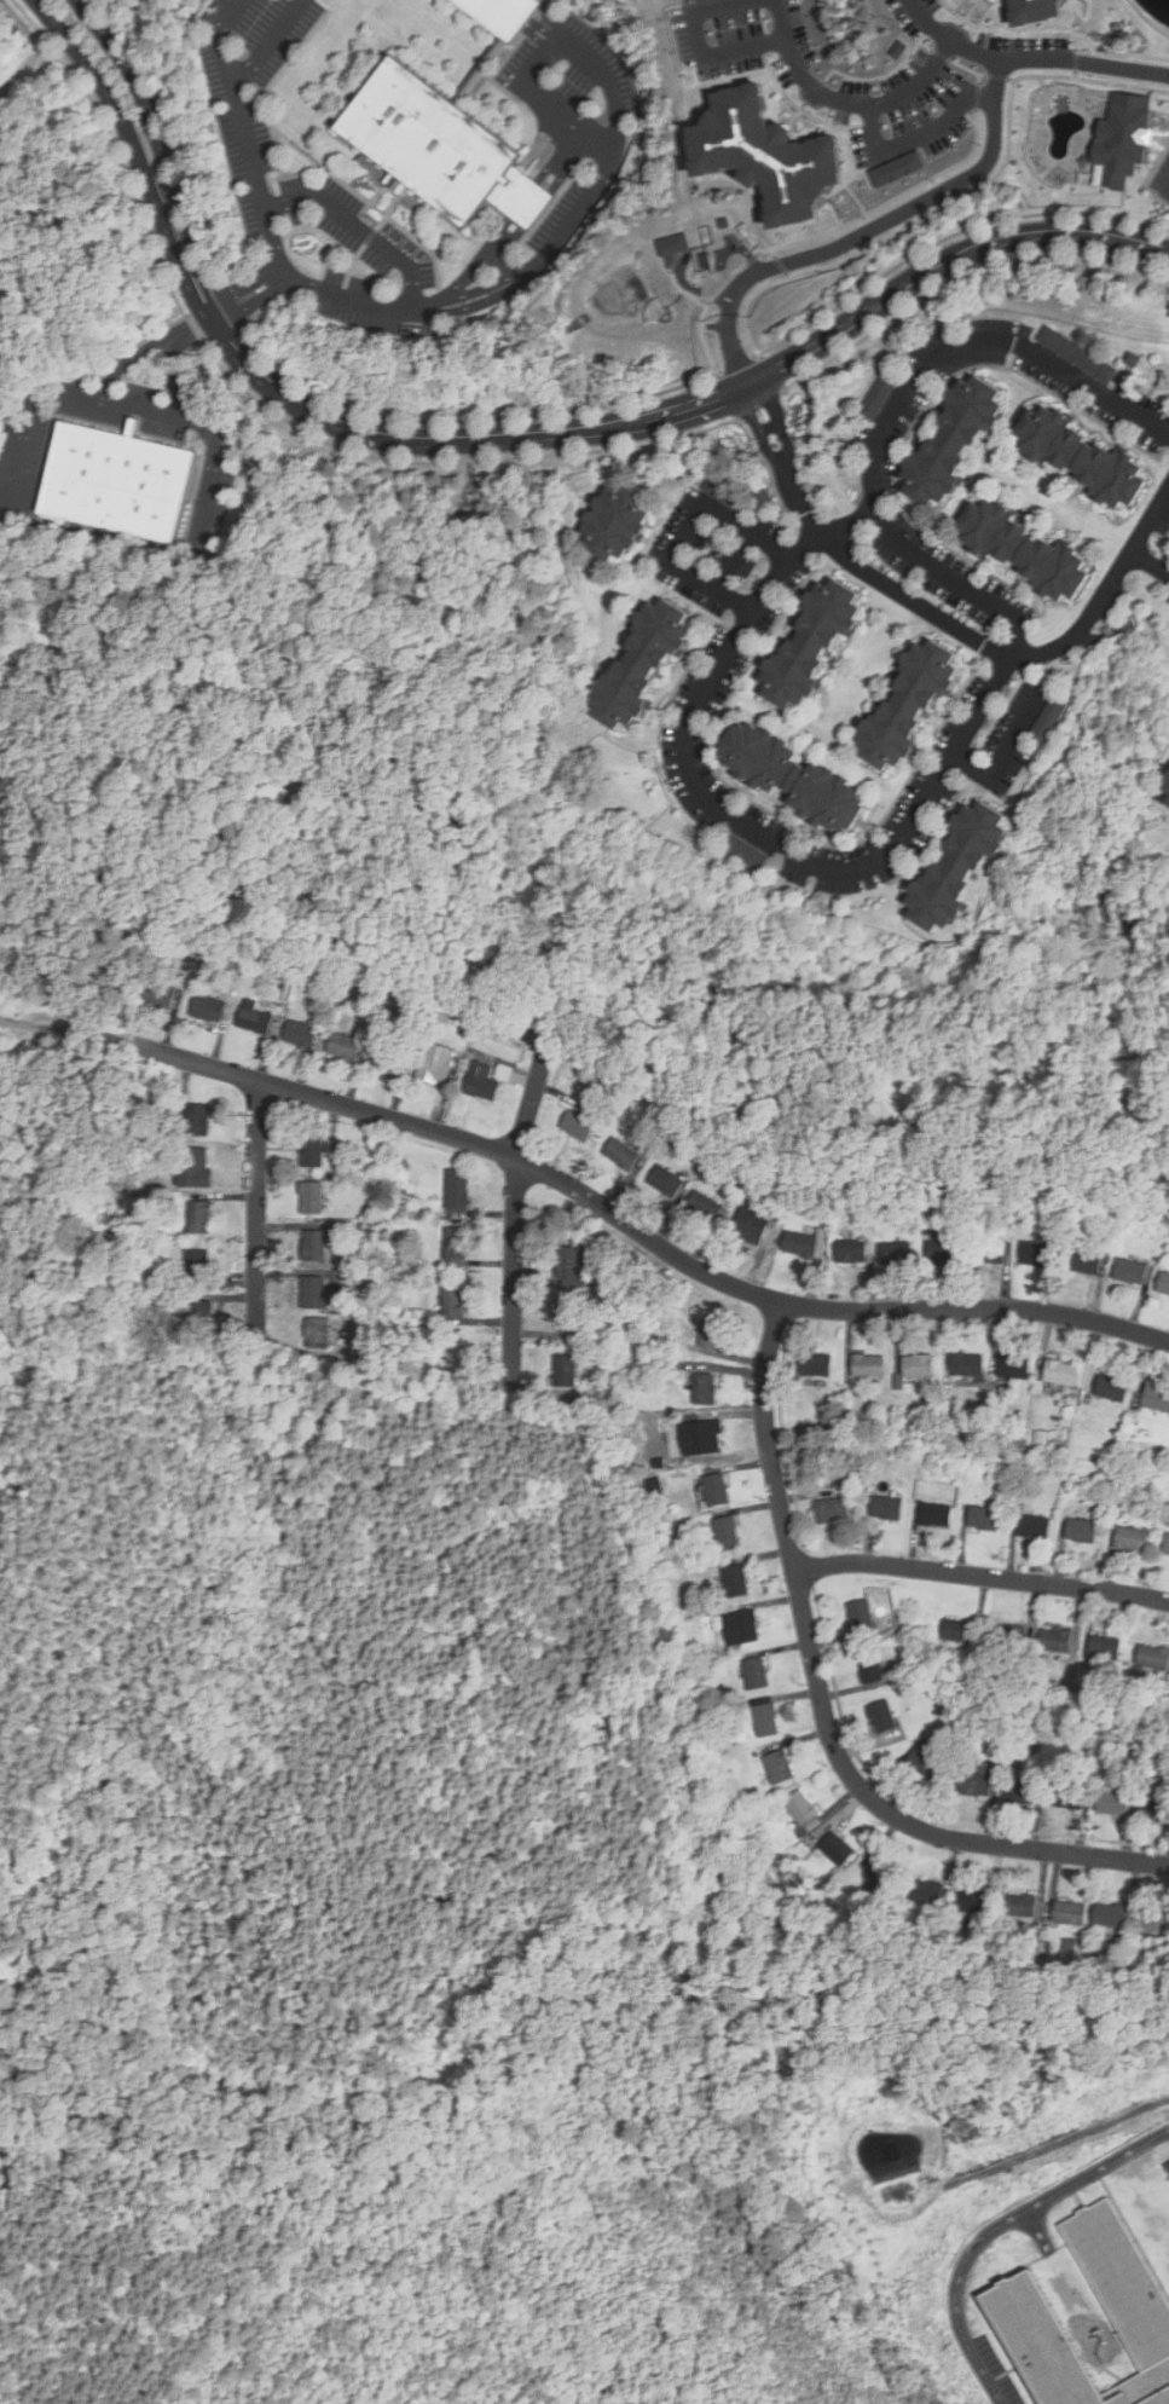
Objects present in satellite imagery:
building: (1036, 10)
building: (502, 13)
road: (927, 23)
road: (218, 37)
road: (270, 40)
road: (699, 46)
road: (1059, 57)
road: (134, 77)
road: (608, 85)
road: (849, 99)
road: (920, 131)
road: (126, 134)
building: (1123, 137)
building: (441, 149)
road: (559, 154)
building: (769, 155)
road: (569, 162)
building: (898, 168)
road: (260, 177)
road: (523, 200)
road: (538, 209)
road: (902, 213)
road: (183, 224)
road: (364, 229)
building: (675, 244)
road: (496, 256)
road: (478, 260)
road: (508, 264)
road: (249, 293)
road: (479, 294)
road: (364, 302)
road: (481, 302)
road: (974, 340)
road: (147, 346)
road: (736, 348)
building: (1076, 353)
road: (170, 364)
building: (881, 389)
road: (673, 409)
road: (28, 411)
road: (208, 433)
building: (953, 437)
building: (1081, 455)
building: (117, 478)
building: (613, 521)
road: (687, 530)
building: (1023, 549)
road: (1150, 564)
road: (930, 566)
road: (944, 613)
building: (812, 643)
building: (638, 663)
building: (907, 703)
building: (1053, 713)
road: (1009, 750)
building: (791, 776)
building: (1165, 796)
building: (1168, 808)
road: (763, 836)
building: (748, 853)
building: (960, 866)
building: (157, 994)
building: (208, 1007)
building: (254, 1017)
building: (300, 1034)
building: (345, 1046)
building: (386, 1061)
building: (435, 1063)
building: (482, 1081)
building: (198, 1120)
building: (577, 1126)
building: (311, 1151)
building: (621, 1152)
building: (665, 1181)
building: (457, 1189)
building: (312, 1196)
road: (516, 1204)
building: (702, 1204)
road: (257, 1209)
building: (199, 1217)
building: (750, 1224)
road: (641, 1232)
building: (456, 1243)
building: (803, 1244)
building: (314, 1246)
building: (851, 1250)
building: (941, 1250)
building: (988, 1250)
building: (896, 1253)
building: (1035, 1254)
building: (1084, 1261)
building: (198, 1264)
building: (567, 1264)
building: (1130, 1271)
building: (1163, 1284)
building: (313, 1293)
building: (453, 1301)
building: (201, 1316)
building: (569, 1316)
building: (318, 1333)
building: (711, 1333)
building: (820, 1364)
building: (870, 1365)
building: (967, 1365)
building: (921, 1366)
building: (1013, 1366)
building: (565, 1370)
building: (1061, 1373)
building: (1111, 1387)
building: (704, 1388)
building: (1156, 1398)
building: (708, 1437)
building: (716, 1490)
building: (892, 1508)
building: (832, 1510)
building: (934, 1515)
building: (983, 1518)
building: (1032, 1526)
building: (1081, 1530)
building: (727, 1532)
building: (1130, 1539)
building: (1167, 1544)
road: (983, 1574)
building: (735, 1580)
building: (858, 1614)
building: (746, 1625)
building: (959, 1630)
building: (1011, 1639)
building: (1054, 1640)
building: (1103, 1647)
building: (1153, 1657)
building: (870, 1666)
building: (756, 1672)
road: (826, 1706)
building: (881, 1716)
building: (765, 1720)
building: (924, 1758)
building: (779, 1767)
building: (974, 1784)
building: (1020, 1792)
building: (1066, 1797)
building: (1113, 1802)
building: (800, 1808)
building: (1156, 1809)
building: (837, 1848)
building: (880, 1874)
building: (927, 1892)
building: (972, 1902)
building: (1020, 1907)
building: (1069, 1913)
building: (1111, 1915)
building: (1153, 1922)
building: (1167, 2167)
building: (1017, 2299)

